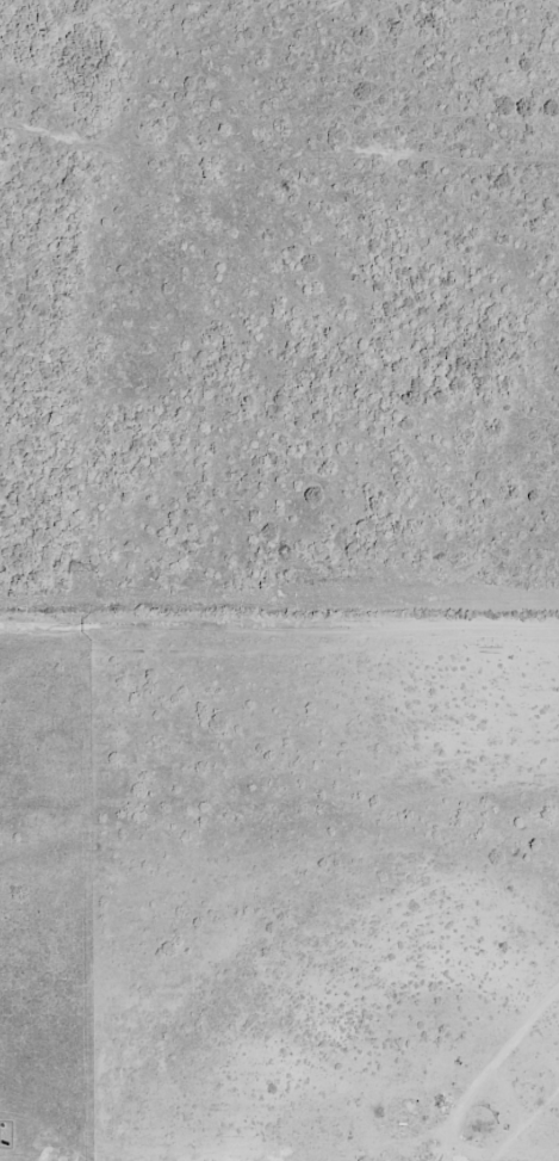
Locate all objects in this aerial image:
road: (279, 623)
road: (510, 1043)

